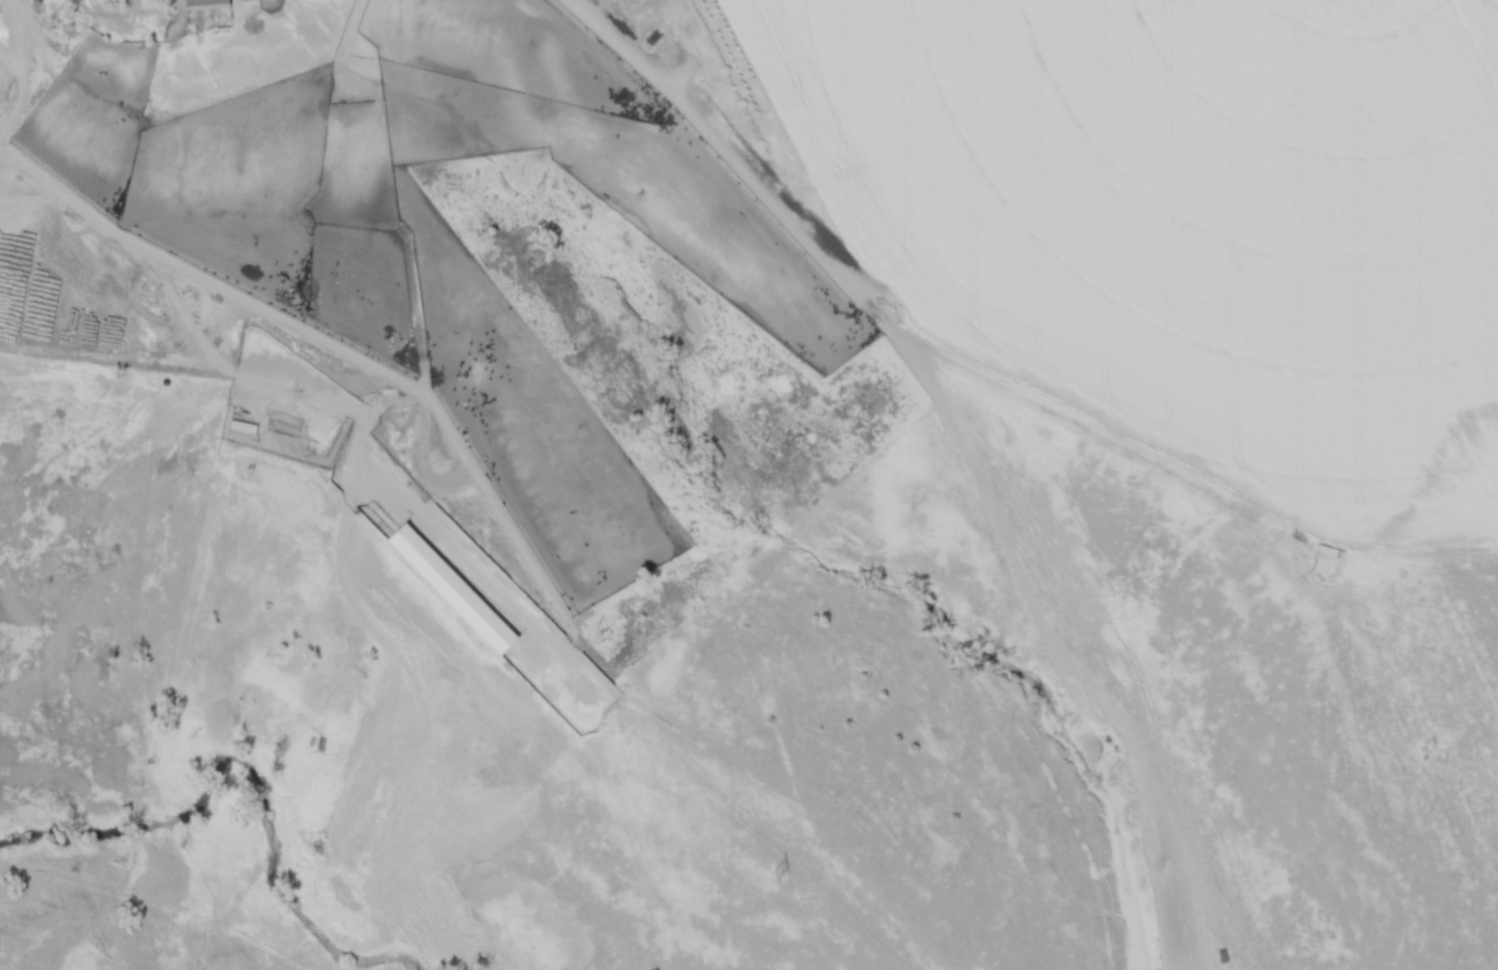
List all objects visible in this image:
building: (205, 5)
building: (1328, 551)
power tower: (1425, 751)
power tower: (776, 874)

